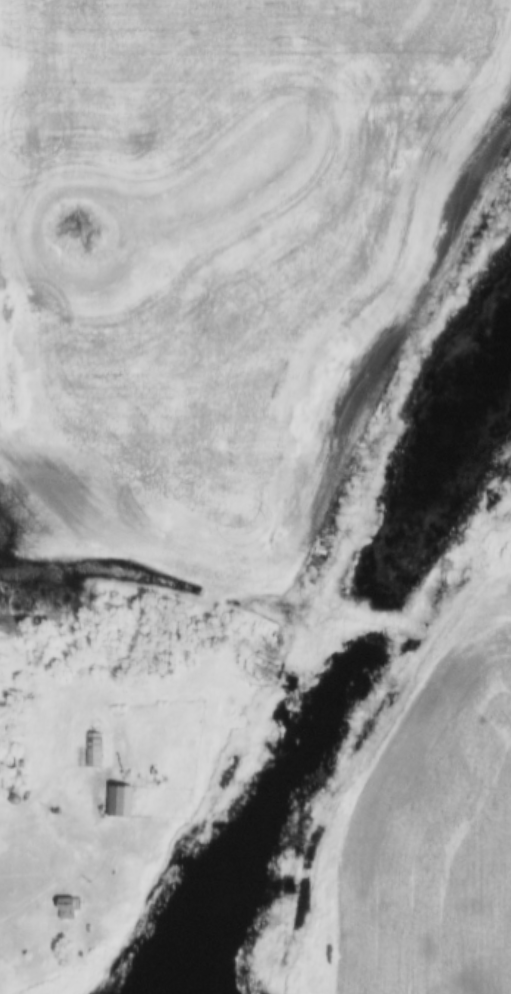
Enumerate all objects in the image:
building: (93, 749)
building: (117, 801)
road: (72, 872)
building: (69, 908)

